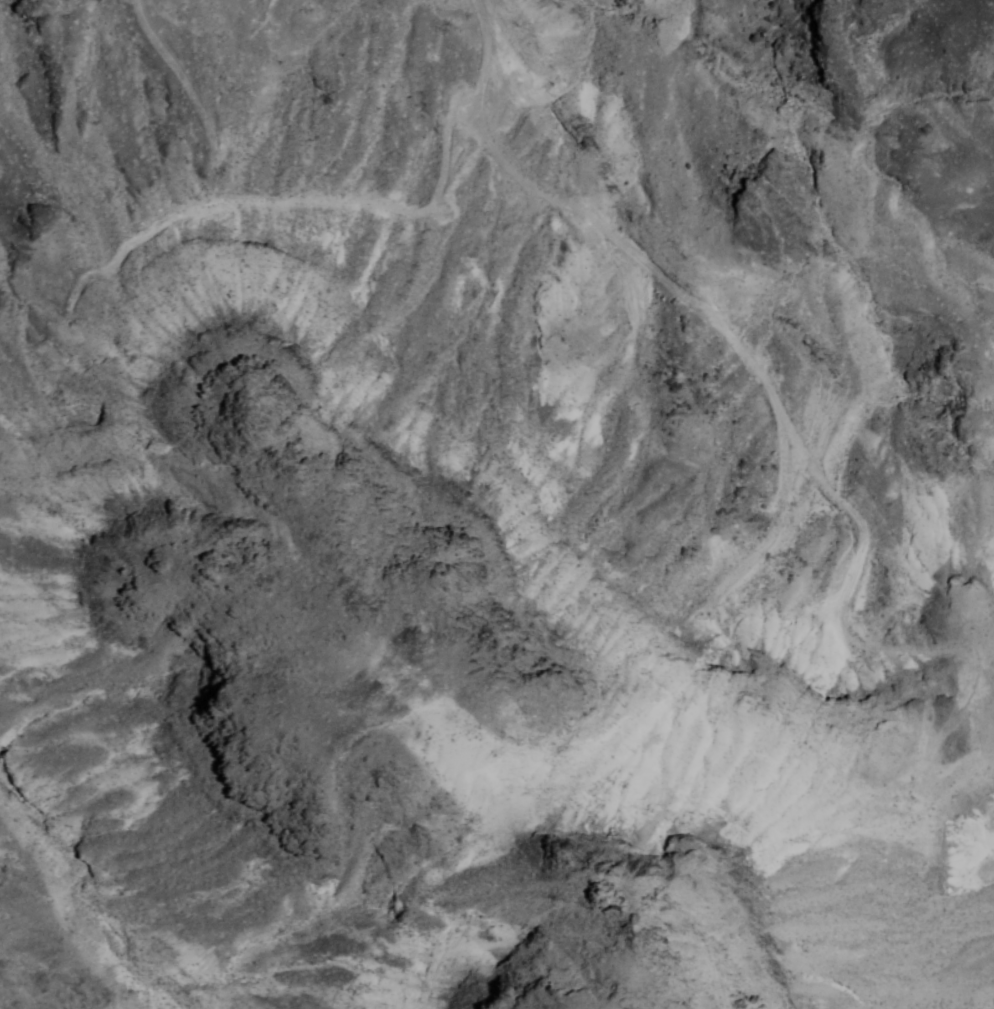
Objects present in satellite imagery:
road: (504, 67)
road: (185, 74)
road: (782, 412)

